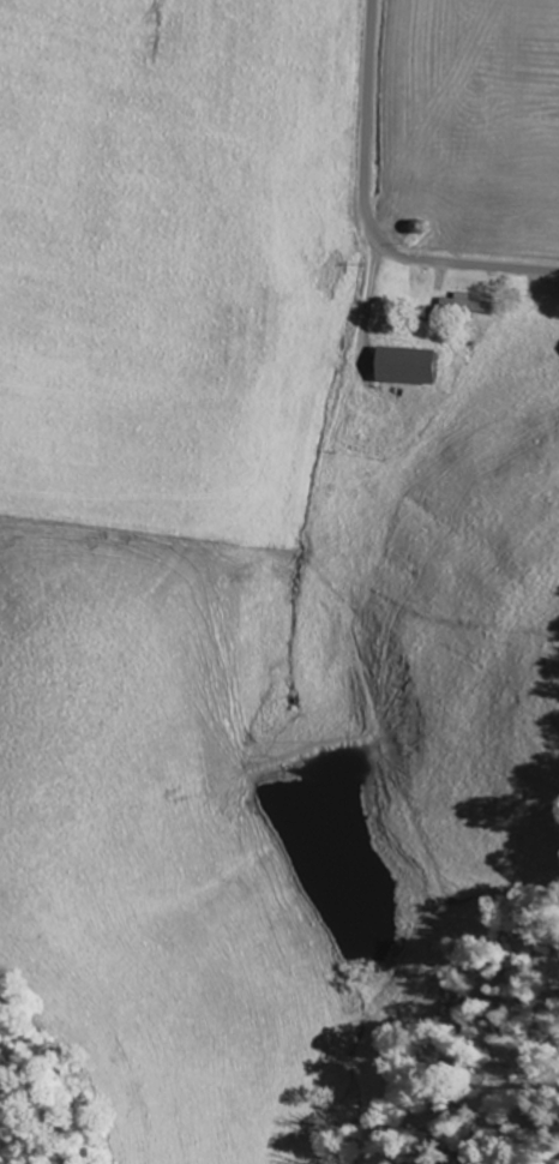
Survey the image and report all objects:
road: (366, 214)
building: (467, 305)
building: (411, 367)

